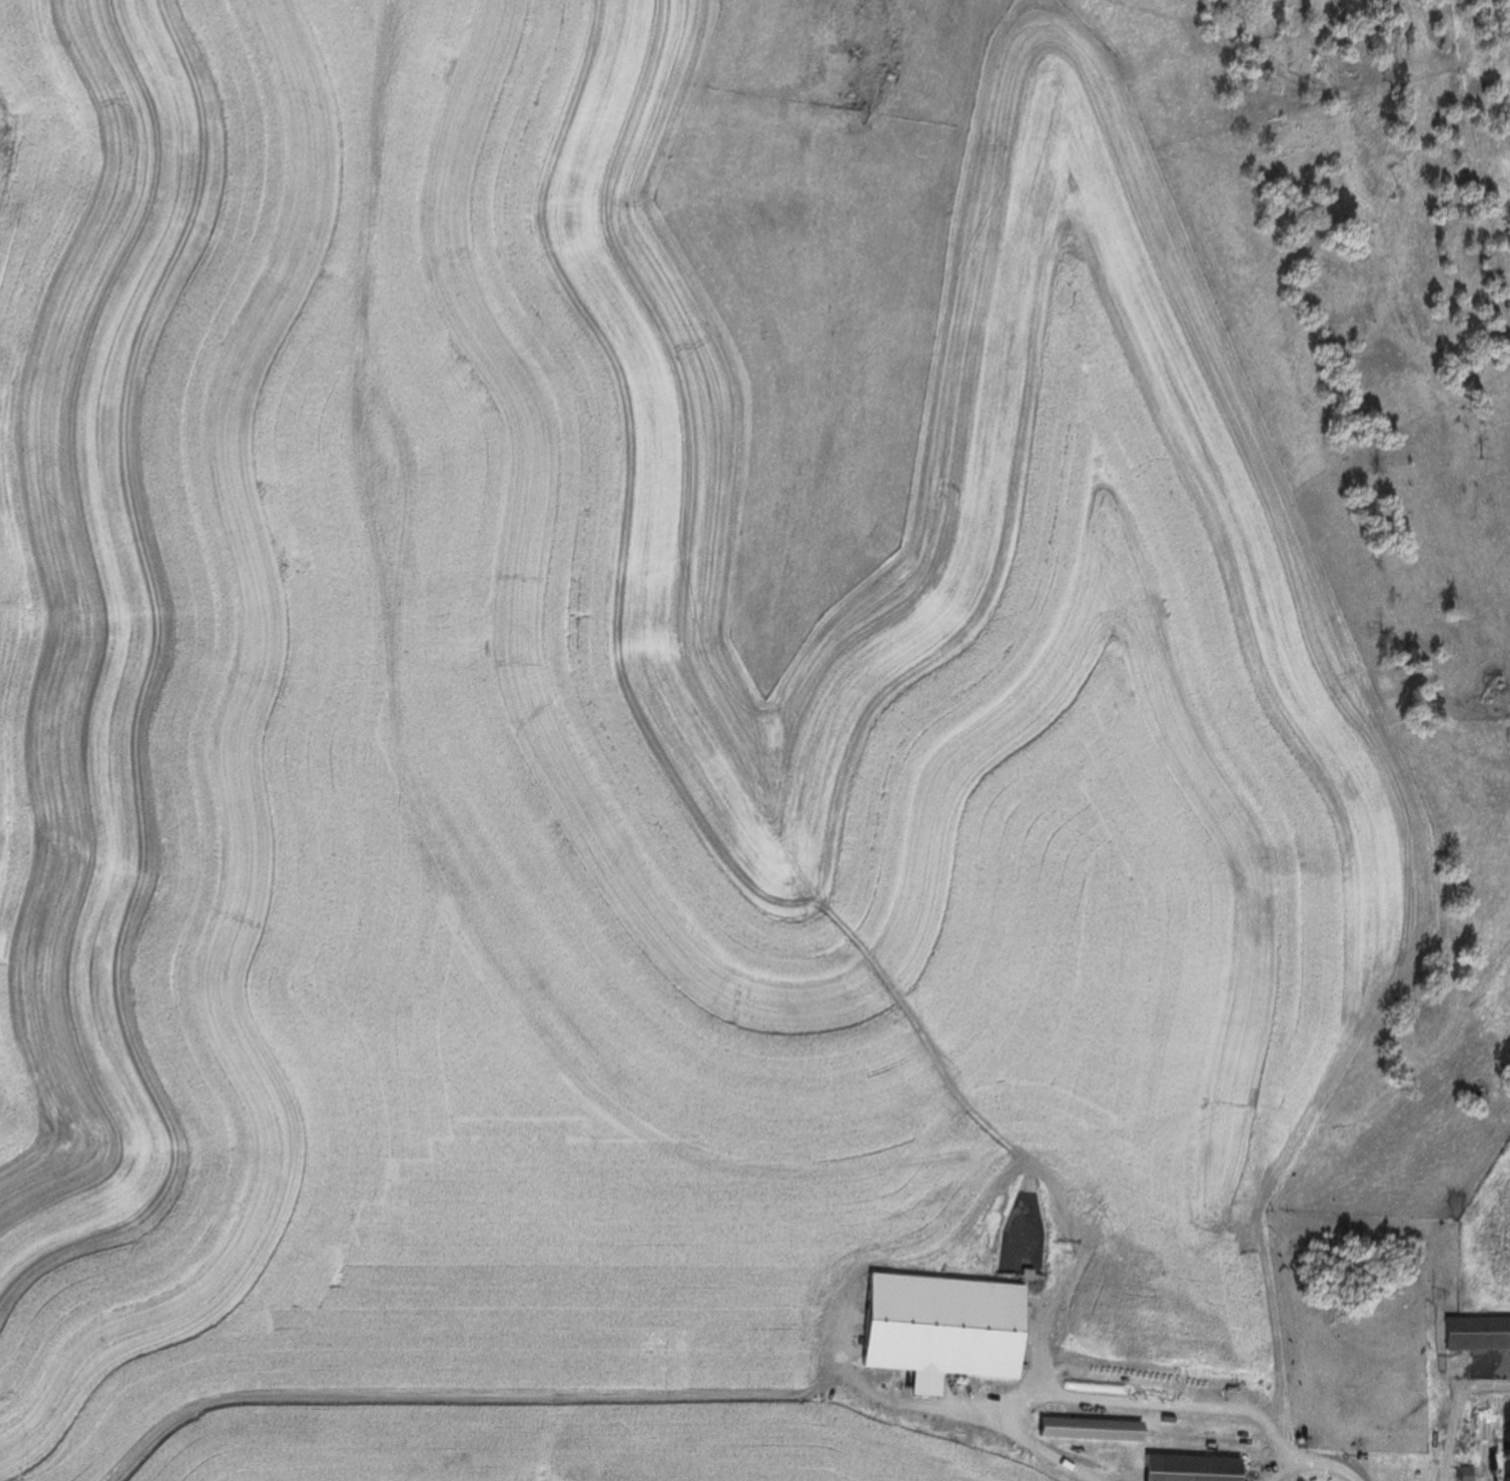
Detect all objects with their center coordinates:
building: (1475, 1331)
building: (1091, 1427)
building: (1482, 1444)
road: (1317, 1457)
building: (1188, 1467)

